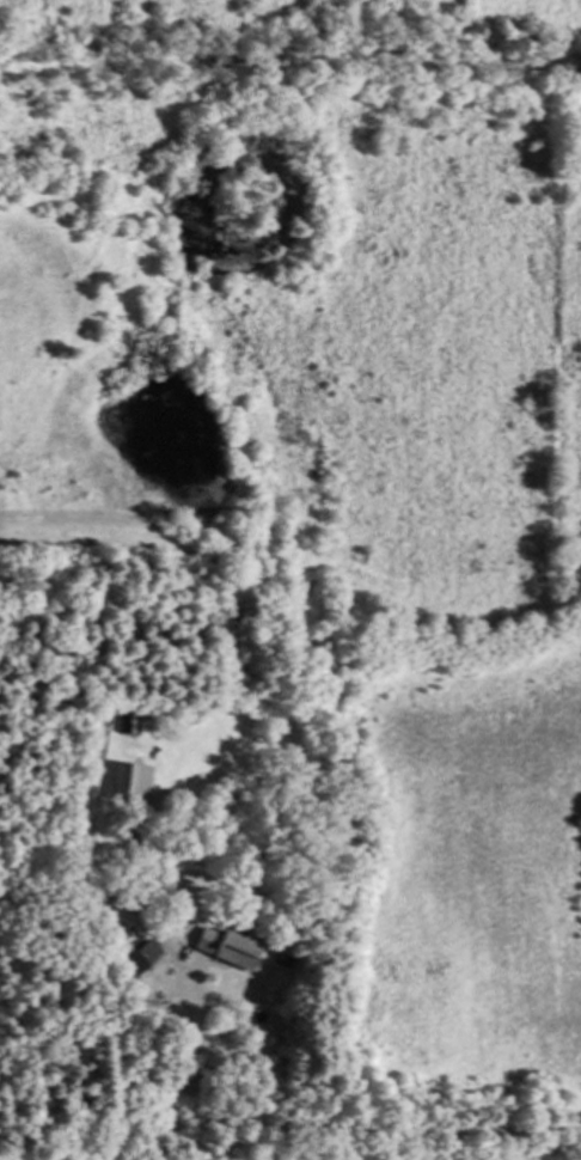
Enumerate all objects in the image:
building: (130, 781)
building: (220, 946)
building: (139, 958)
road: (324, 1129)

